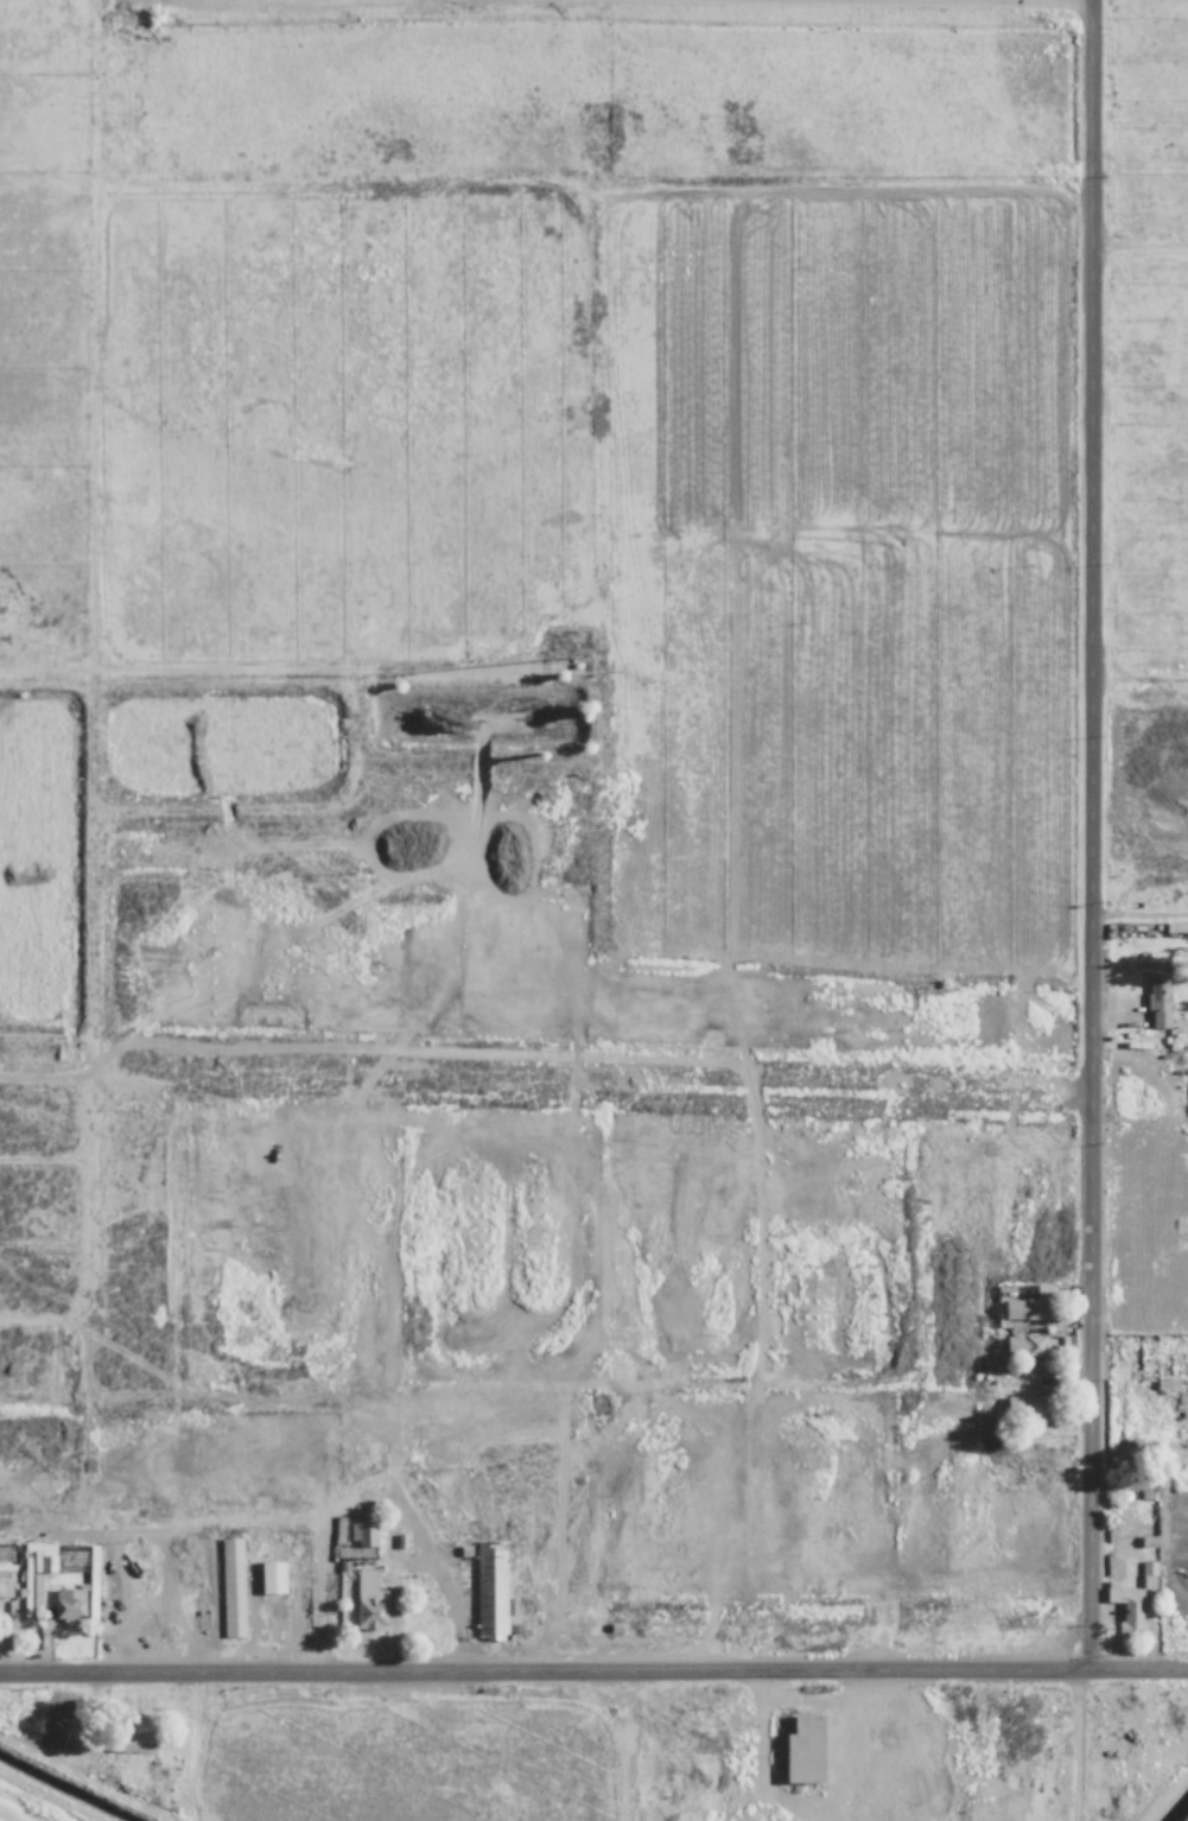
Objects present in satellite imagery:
road: (1143, 253)
crop: (643, 486)
road: (1100, 835)
road: (1144, 913)
building: (1157, 998)
building: (1023, 1404)
building: (358, 1541)
building: (46, 1562)
building: (1148, 1567)
building: (77, 1572)
building: (269, 1576)
building: (5, 1586)
building: (230, 1586)
building: (32, 1593)
building: (491, 1593)
building: (361, 1600)
building: (68, 1603)
building: (1125, 1606)
road: (593, 1669)
building: (129, 1743)
building: (800, 1750)

